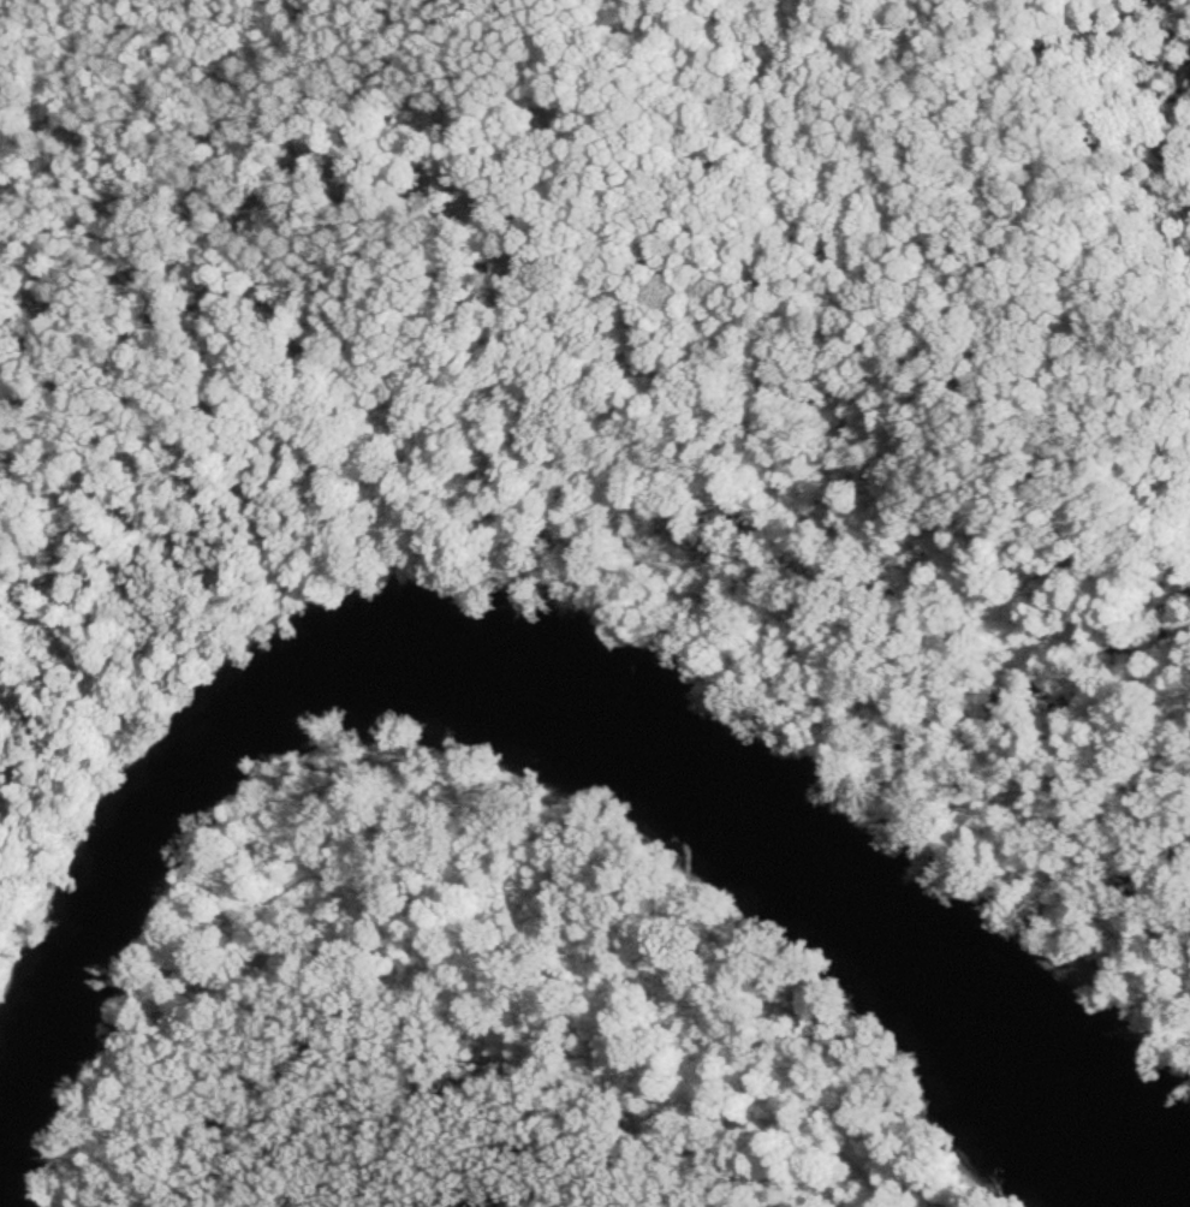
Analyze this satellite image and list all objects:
river: (522, 682)

